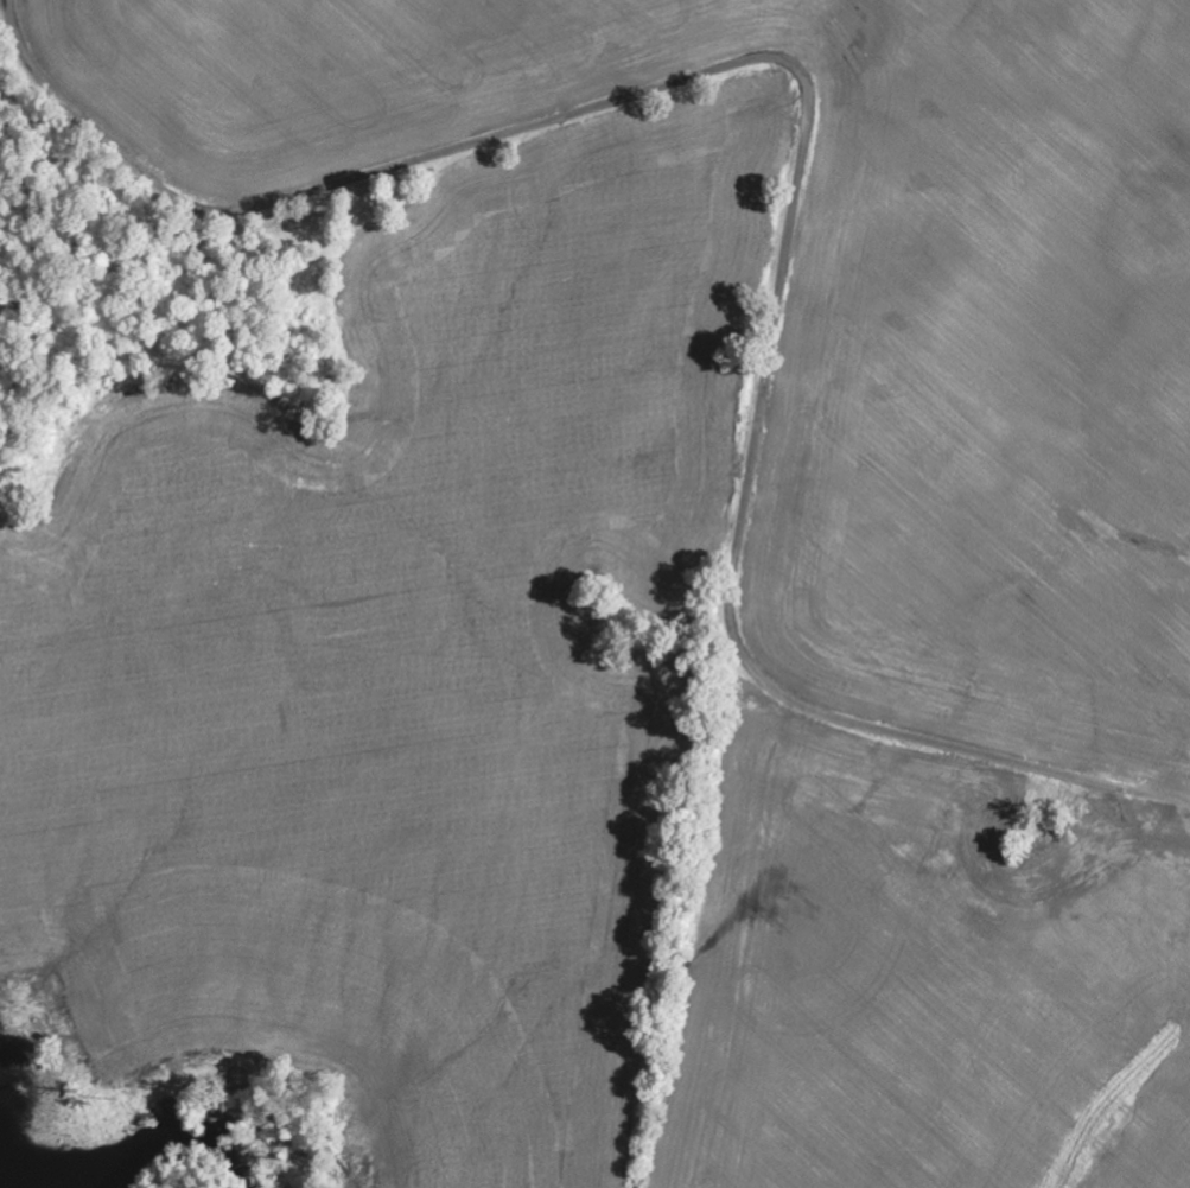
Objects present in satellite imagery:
road: (802, 146)

